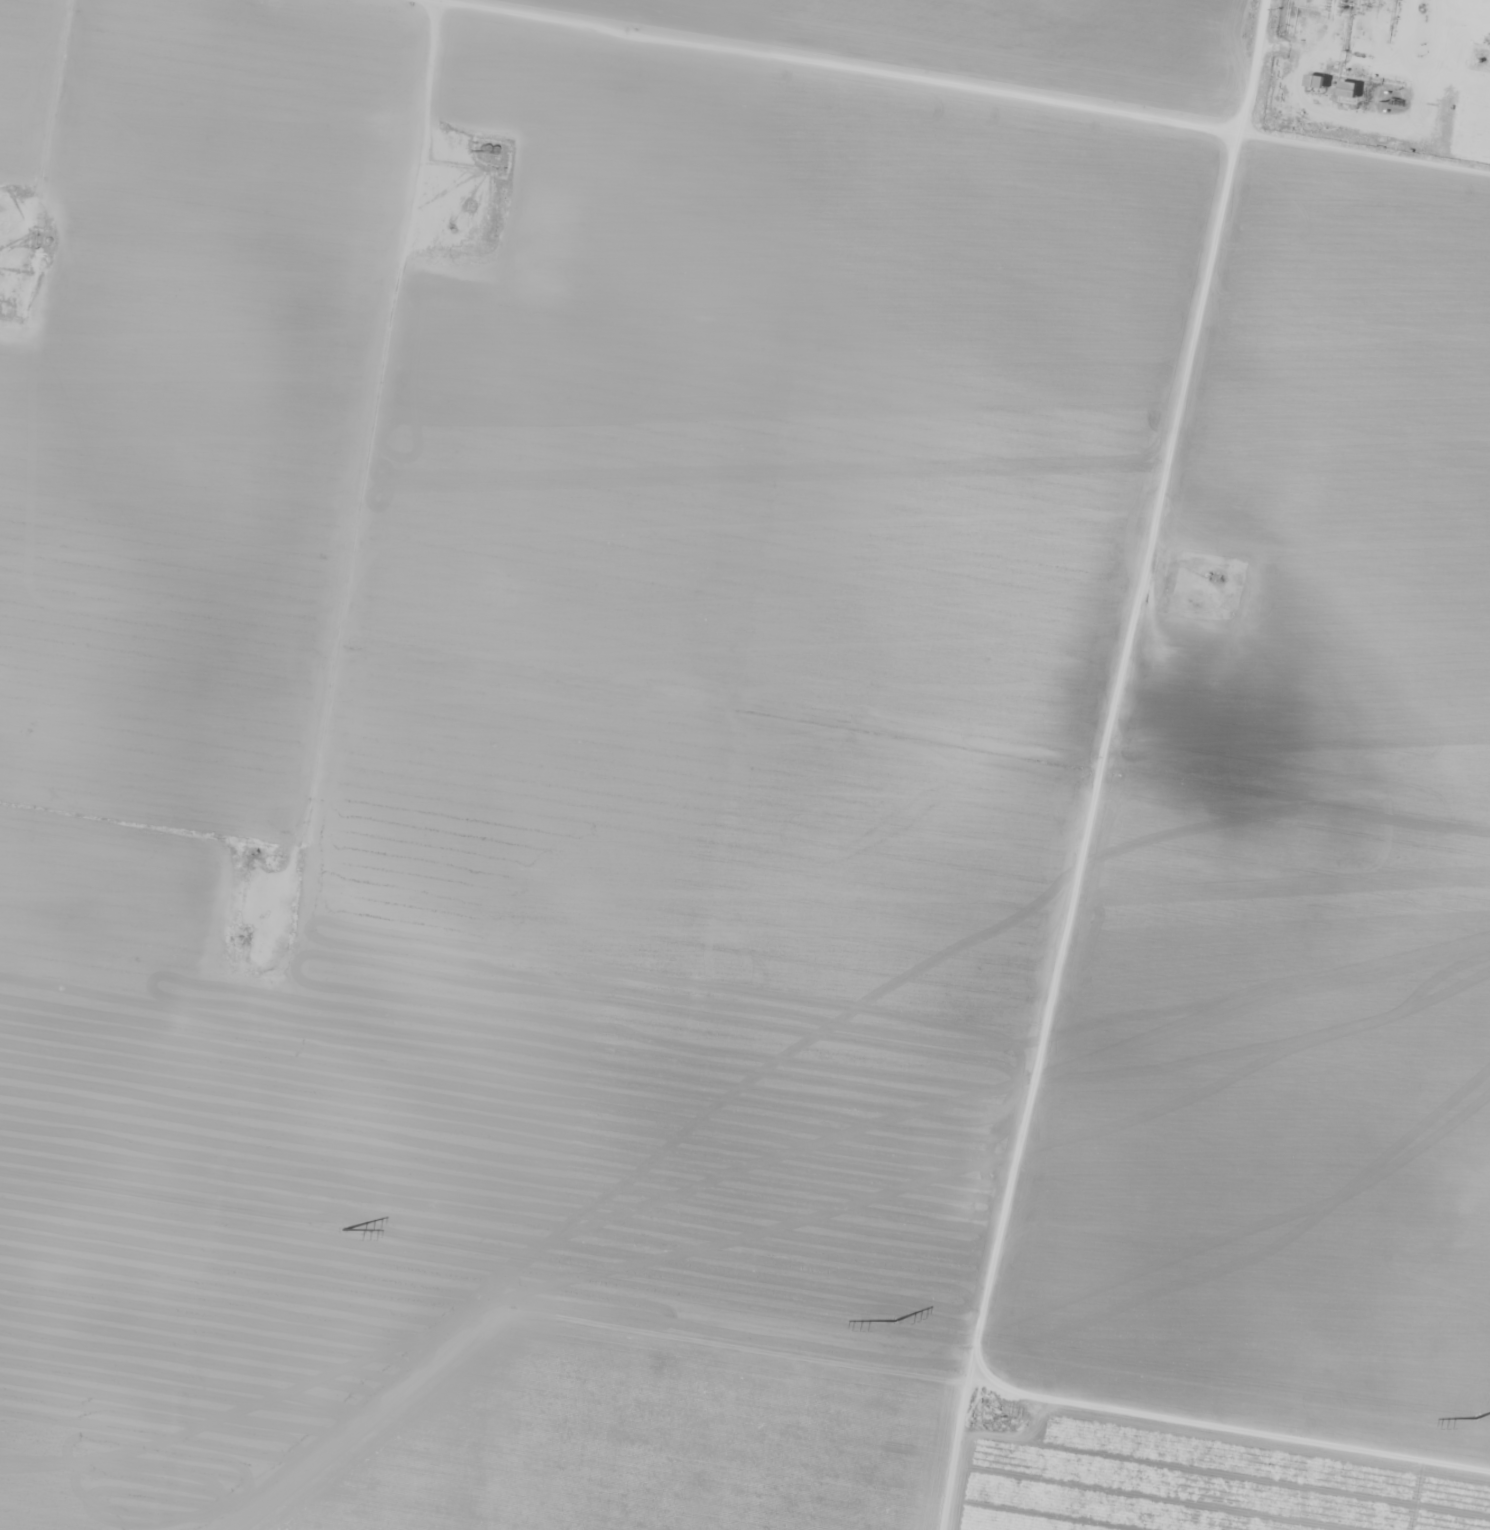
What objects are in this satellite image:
building: (1314, 83)
building: (1346, 90)
road: (914, 100)
power tower: (345, 1234)
power tower: (900, 1326)
power tower: (1478, 1427)

